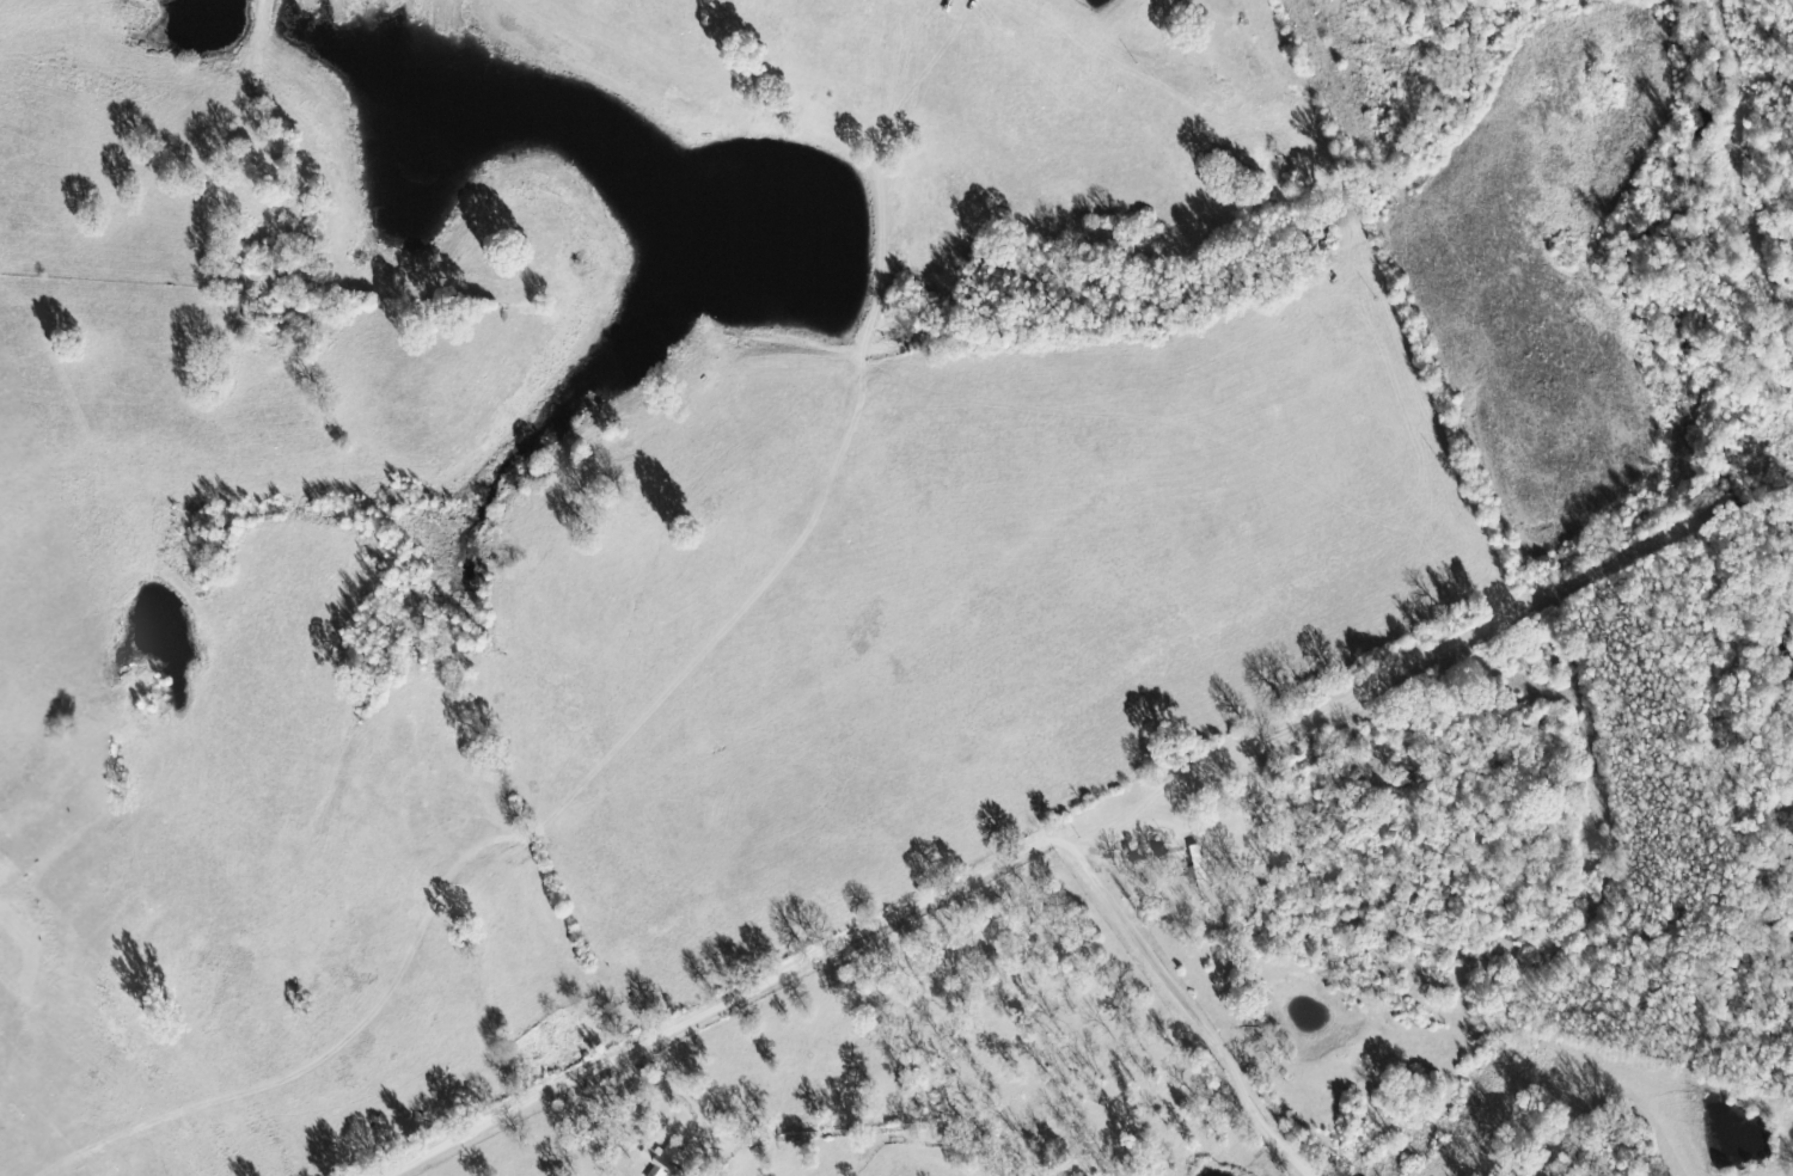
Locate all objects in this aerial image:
road: (1179, 1005)
road: (712, 1006)

